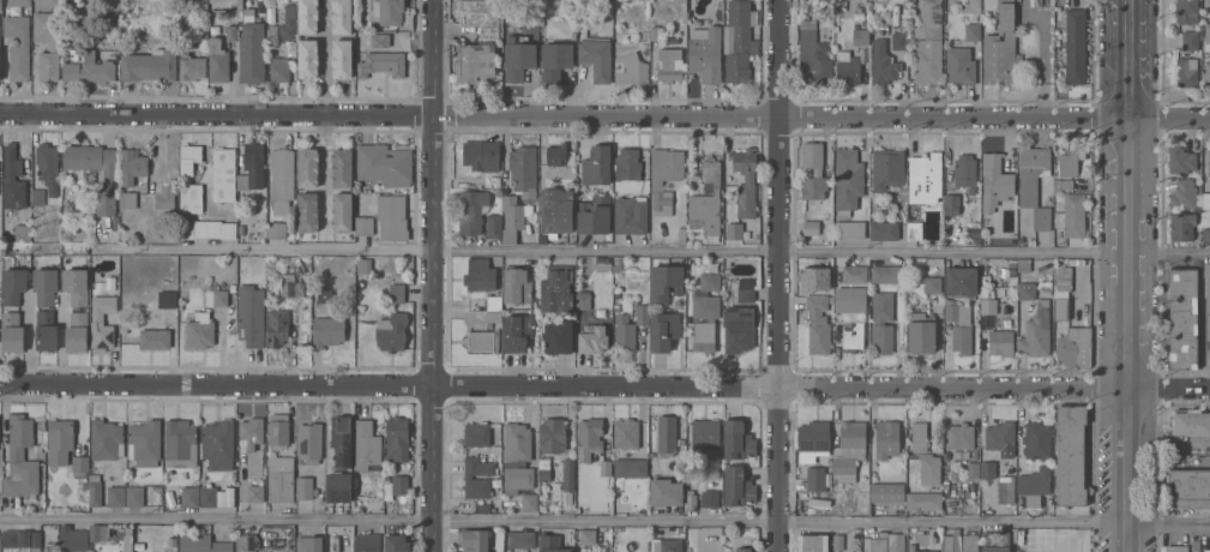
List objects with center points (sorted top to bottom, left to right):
building: (260, 0)
building: (19, 2)
building: (53, 2)
building: (0, 4)
building: (389, 11)
building: (1186, 11)
building: (308, 16)
building: (342, 16)
building: (289, 23)
building: (360, 24)
building: (973, 26)
building: (272, 30)
building: (231, 32)
building: (654, 32)
building: (1208, 32)
building: (861, 36)
building: (380, 40)
building: (739, 40)
building: (898, 40)
building: (1191, 40)
building: (928, 43)
building: (252, 44)
building: (18, 46)
building: (1076, 46)
building: (54, 47)
building: (1000, 47)
building: (706, 53)
road: (325, 56)
building: (596, 56)
building: (813, 56)
building: (308, 58)
building: (342, 58)
building: (0, 59)
building: (218, 60)
building: (519, 60)
building: (555, 60)
building: (475, 62)
building: (884, 62)
building: (383, 64)
building: (669, 64)
building: (150, 65)
building: (961, 65)
building: (192, 66)
building: (848, 67)
building: (90, 68)
building: (631, 68)
building: (281, 70)
building: (1186, 71)
building: (1208, 71)
road: (604, 114)
building: (482, 155)
building: (559, 155)
building: (1071, 158)
building: (1181, 160)
building: (1209, 161)
building: (133, 164)
building: (385, 164)
building: (628, 164)
building: (253, 166)
building: (597, 166)
building: (308, 167)
building: (342, 167)
building: (523, 167)
building: (887, 168)
building: (49, 169)
building: (813, 170)
building: (965, 170)
road: (326, 173)
building: (224, 174)
building: (664, 176)
building: (750, 178)
building: (925, 178)
building: (13, 179)
building: (109, 179)
building: (186, 179)
building: (282, 179)
building: (848, 180)
building: (495, 181)
building: (995, 181)
building: (1035, 184)
building: (1066, 184)
building: (1184, 193)
building: (37, 196)
building: (164, 198)
building: (128, 199)
building: (706, 199)
building: (1205, 200)
building: (951, 204)
building: (510, 205)
building: (1200, 206)
building: (556, 210)
building: (308, 211)
building: (342, 211)
building: (472, 211)
building: (595, 215)
building: (631, 215)
building: (1072, 215)
building: (392, 217)
building: (115, 218)
building: (985, 222)
building: (365, 224)
building: (495, 226)
building: (1182, 226)
building: (811, 227)
building: (207, 228)
building: (849, 228)
building: (277, 229)
building: (734, 229)
building: (884, 229)
building: (914, 229)
building: (946, 229)
building: (241, 230)
building: (22, 232)
building: (682, 234)
building: (1206, 235)
road: (604, 251)
building: (1058, 260)
building: (616, 262)
building: (1012, 264)
building: (1024, 264)
building: (363, 265)
building: (1012, 270)
building: (1004, 271)
building: (854, 274)
building: (889, 274)
building: (481, 275)
road: (779, 275)
road: (1126, 275)
road: (434, 276)
building: (814, 277)
building: (986, 278)
building: (112, 281)
building: (710, 281)
building: (961, 281)
building: (666, 282)
building: (13, 284)
building: (46, 284)
building: (291, 284)
building: (361, 284)
building: (517, 284)
building: (932, 284)
building: (76, 286)
building: (558, 288)
building: (746, 289)
building: (1027, 290)
building: (397, 293)
building: (325, 294)
building: (216, 295)
building: (1208, 296)
building: (167, 299)
building: (583, 299)
building: (851, 299)
building: (602, 300)
building: (494, 302)
building: (110, 304)
building: (988, 305)
building: (1061, 305)
building: (616, 307)
building: (252, 314)
building: (642, 314)
building: (493, 316)
building: (1184, 318)
building: (881, 322)
building: (818, 323)
building: (278, 326)
building: (739, 328)
building: (961, 328)
building: (46, 330)
building: (200, 330)
building: (327, 330)
building: (664, 330)
building: (13, 331)
building: (77, 331)
building: (392, 331)
building: (704, 331)
building: (1036, 331)
building: (517, 332)
building: (624, 332)
building: (921, 332)
building: (102, 334)
building: (558, 335)
building: (854, 336)
building: (155, 338)
building: (594, 338)
building: (483, 340)
building: (1001, 342)
building: (1074, 347)
road: (604, 385)
building: (1191, 421)
building: (253, 428)
building: (278, 430)
building: (626, 433)
building: (477, 434)
building: (553, 434)
building: (668, 434)
building: (959, 436)
building: (1000, 436)
building: (398, 438)
building: (589, 438)
building: (887, 438)
building: (107, 439)
building: (1037, 439)
building: (60, 440)
building: (739, 440)
building: (813, 440)
building: (309, 442)
building: (343, 442)
building: (145, 443)
building: (181, 443)
building: (218, 444)
building: (368, 446)
building: (706, 446)
building: (849, 450)
building: (38, 451)
building: (1071, 454)
building: (926, 455)
building: (22, 457)
building: (517, 457)
building: (80, 466)
building: (606, 467)
building: (631, 467)
building: (544, 469)
building: (975, 469)
building: (989, 469)
building: (568, 474)
building: (281, 478)
building: (815, 478)
building: (477, 481)
building: (85, 484)
building: (945, 484)
building: (1035, 485)
building: (738, 486)
building: (95, 487)
building: (157, 487)
building: (306, 487)
building: (338, 487)
building: (396, 487)
building: (1187, 487)
building: (1006, 488)
building: (255, 492)
building: (666, 492)
building: (887, 492)
building: (116, 496)
building: (134, 496)
building: (191, 496)
building: (209, 496)
building: (710, 498)
building: (692, 499)
building: (925, 500)
building: (530, 502)
building: (505, 503)
building: (167, 505)
building: (482, 508)
road: (604, 521)
building: (681, 530)
building: (95, 532)
building: (588, 536)
building: (16, 538)
building: (73, 538)
building: (121, 538)
building: (520, 539)
building: (36, 540)
building: (476, 540)
building: (173, 541)
building: (838, 541)
building: (970, 541)
building: (995, 541)
building: (247, 542)
building: (368, 542)
building: (397, 542)
building: (813, 542)
building: (897, 542)
building: (952, 542)
building: (204, 544)
building: (309, 544)
building: (552, 544)
building: (1197, 544)
building: (139, 545)
building: (666, 545)
building: (878, 545)
building: (911, 546)
building: (1176, 548)
building: (746, 550)
building: (1206, 550)
building: (139, 551)

